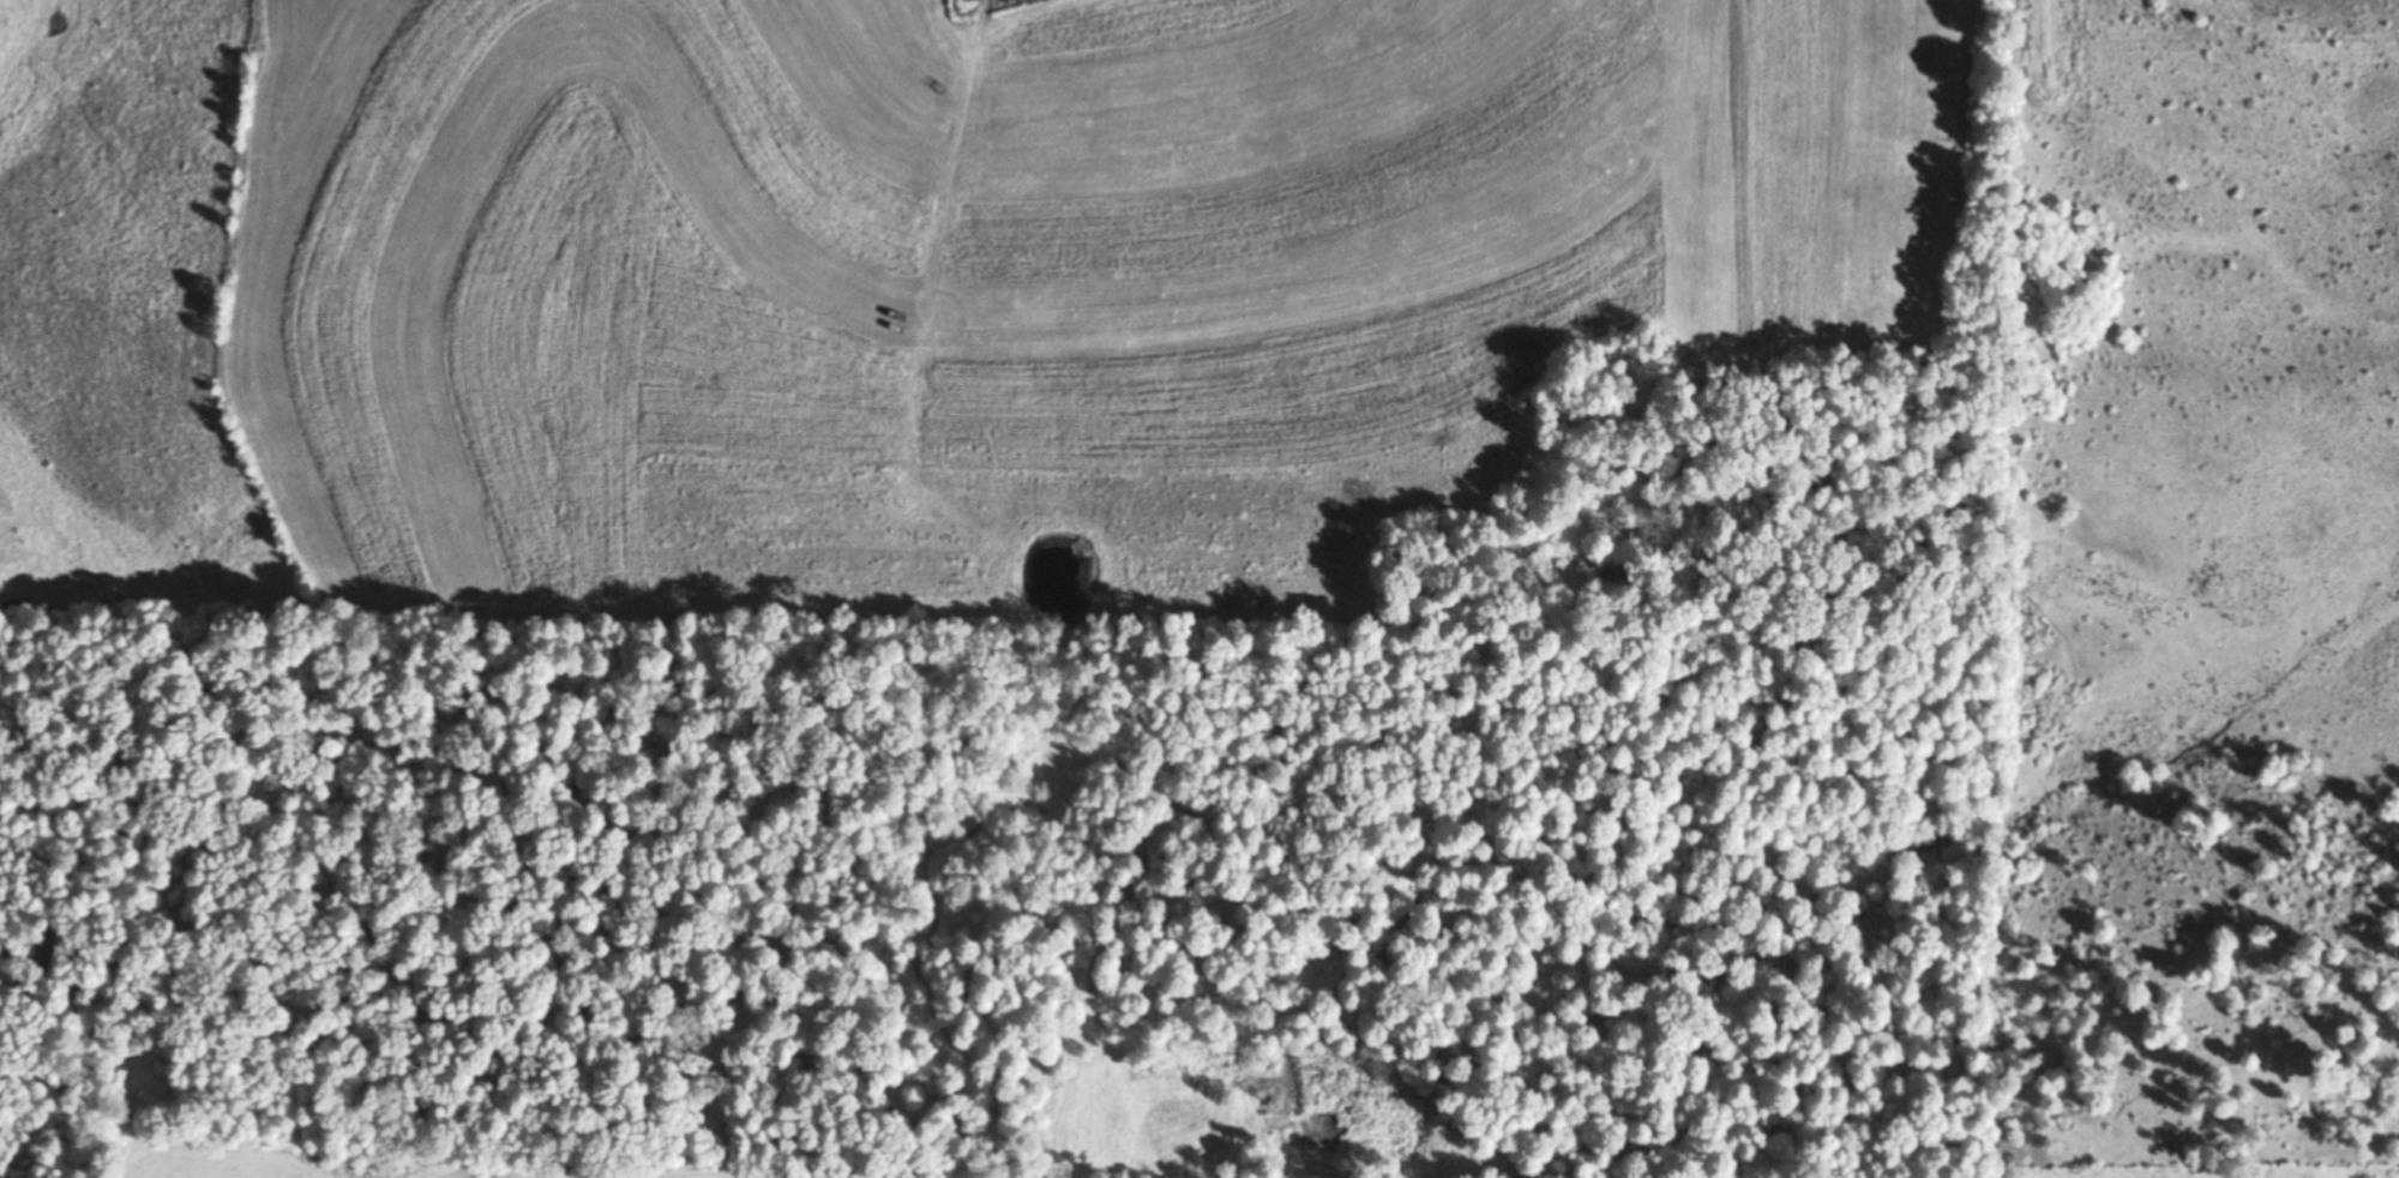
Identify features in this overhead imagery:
crop: (561, 269)
crop: (1336, 278)
crop: (344, 1161)

